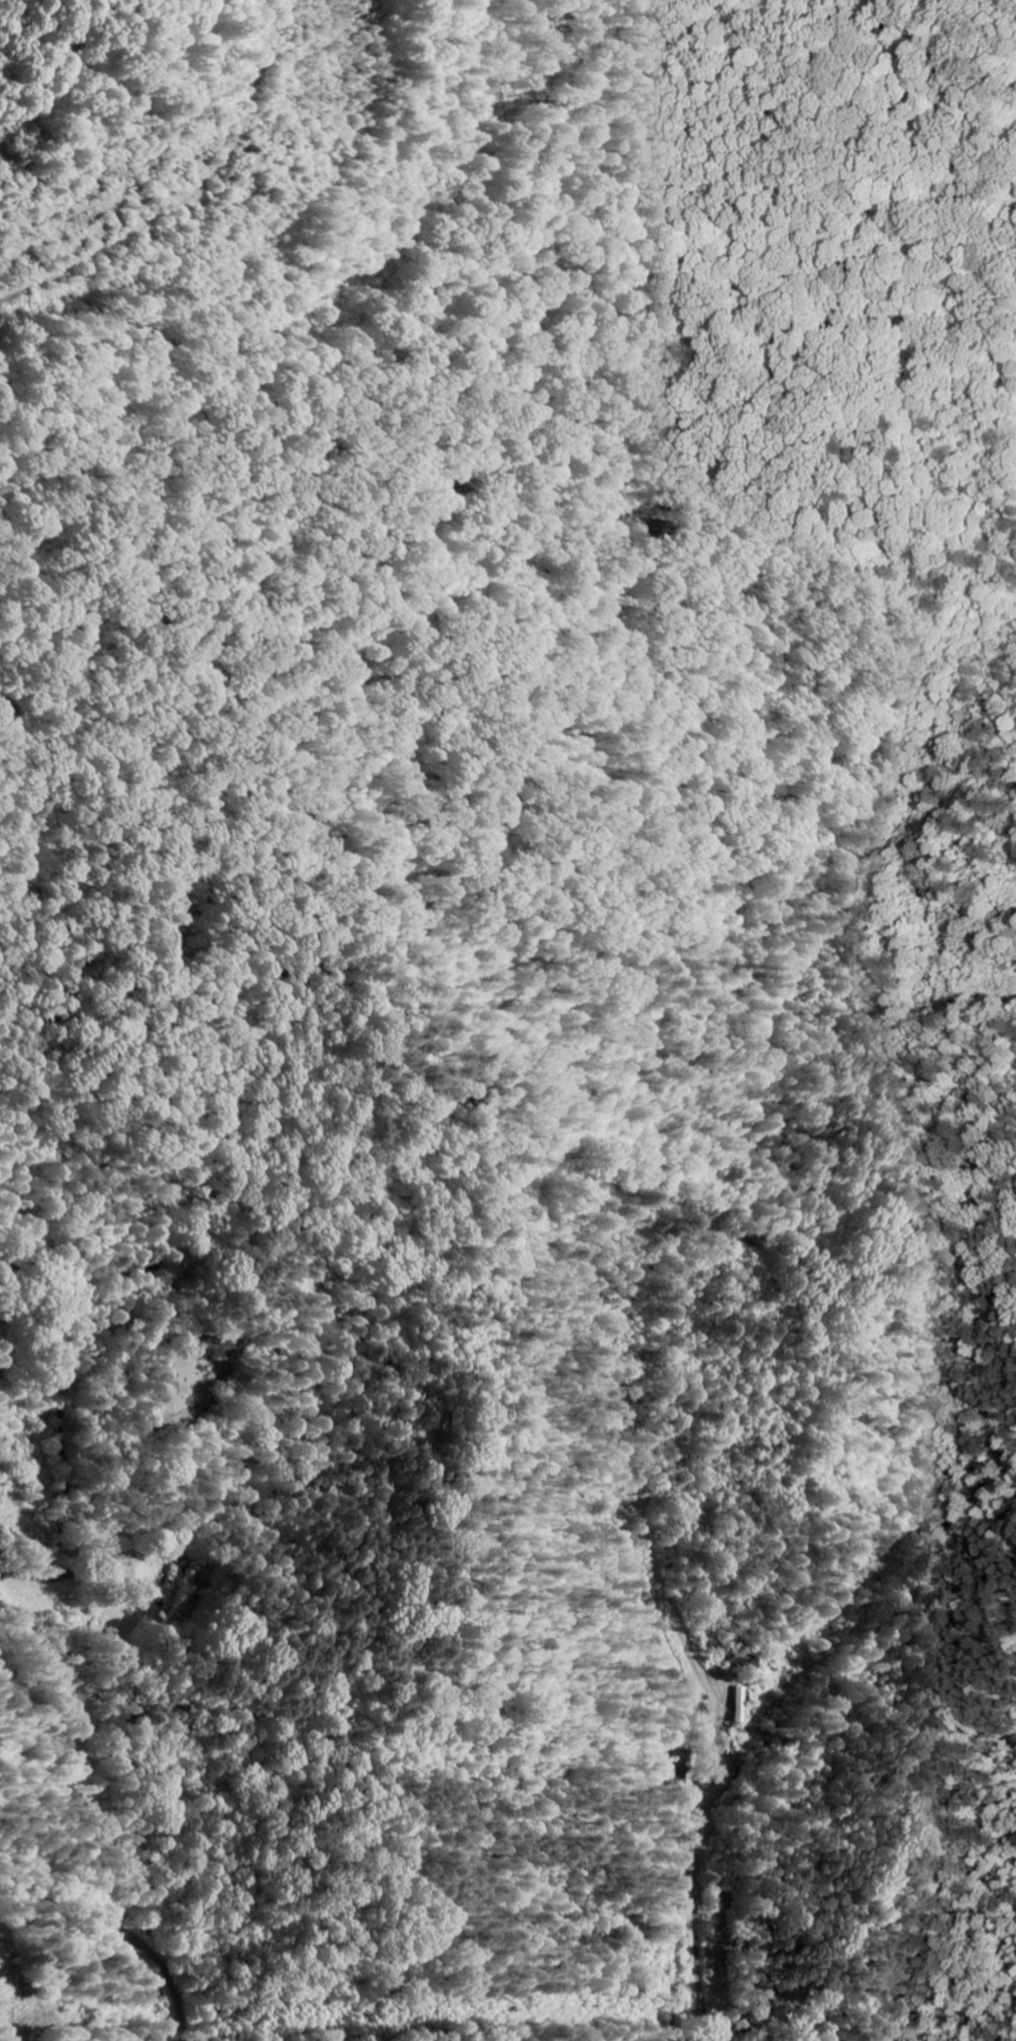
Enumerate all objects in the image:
road: (102, 1552)
road: (75, 1840)
road: (701, 1884)

